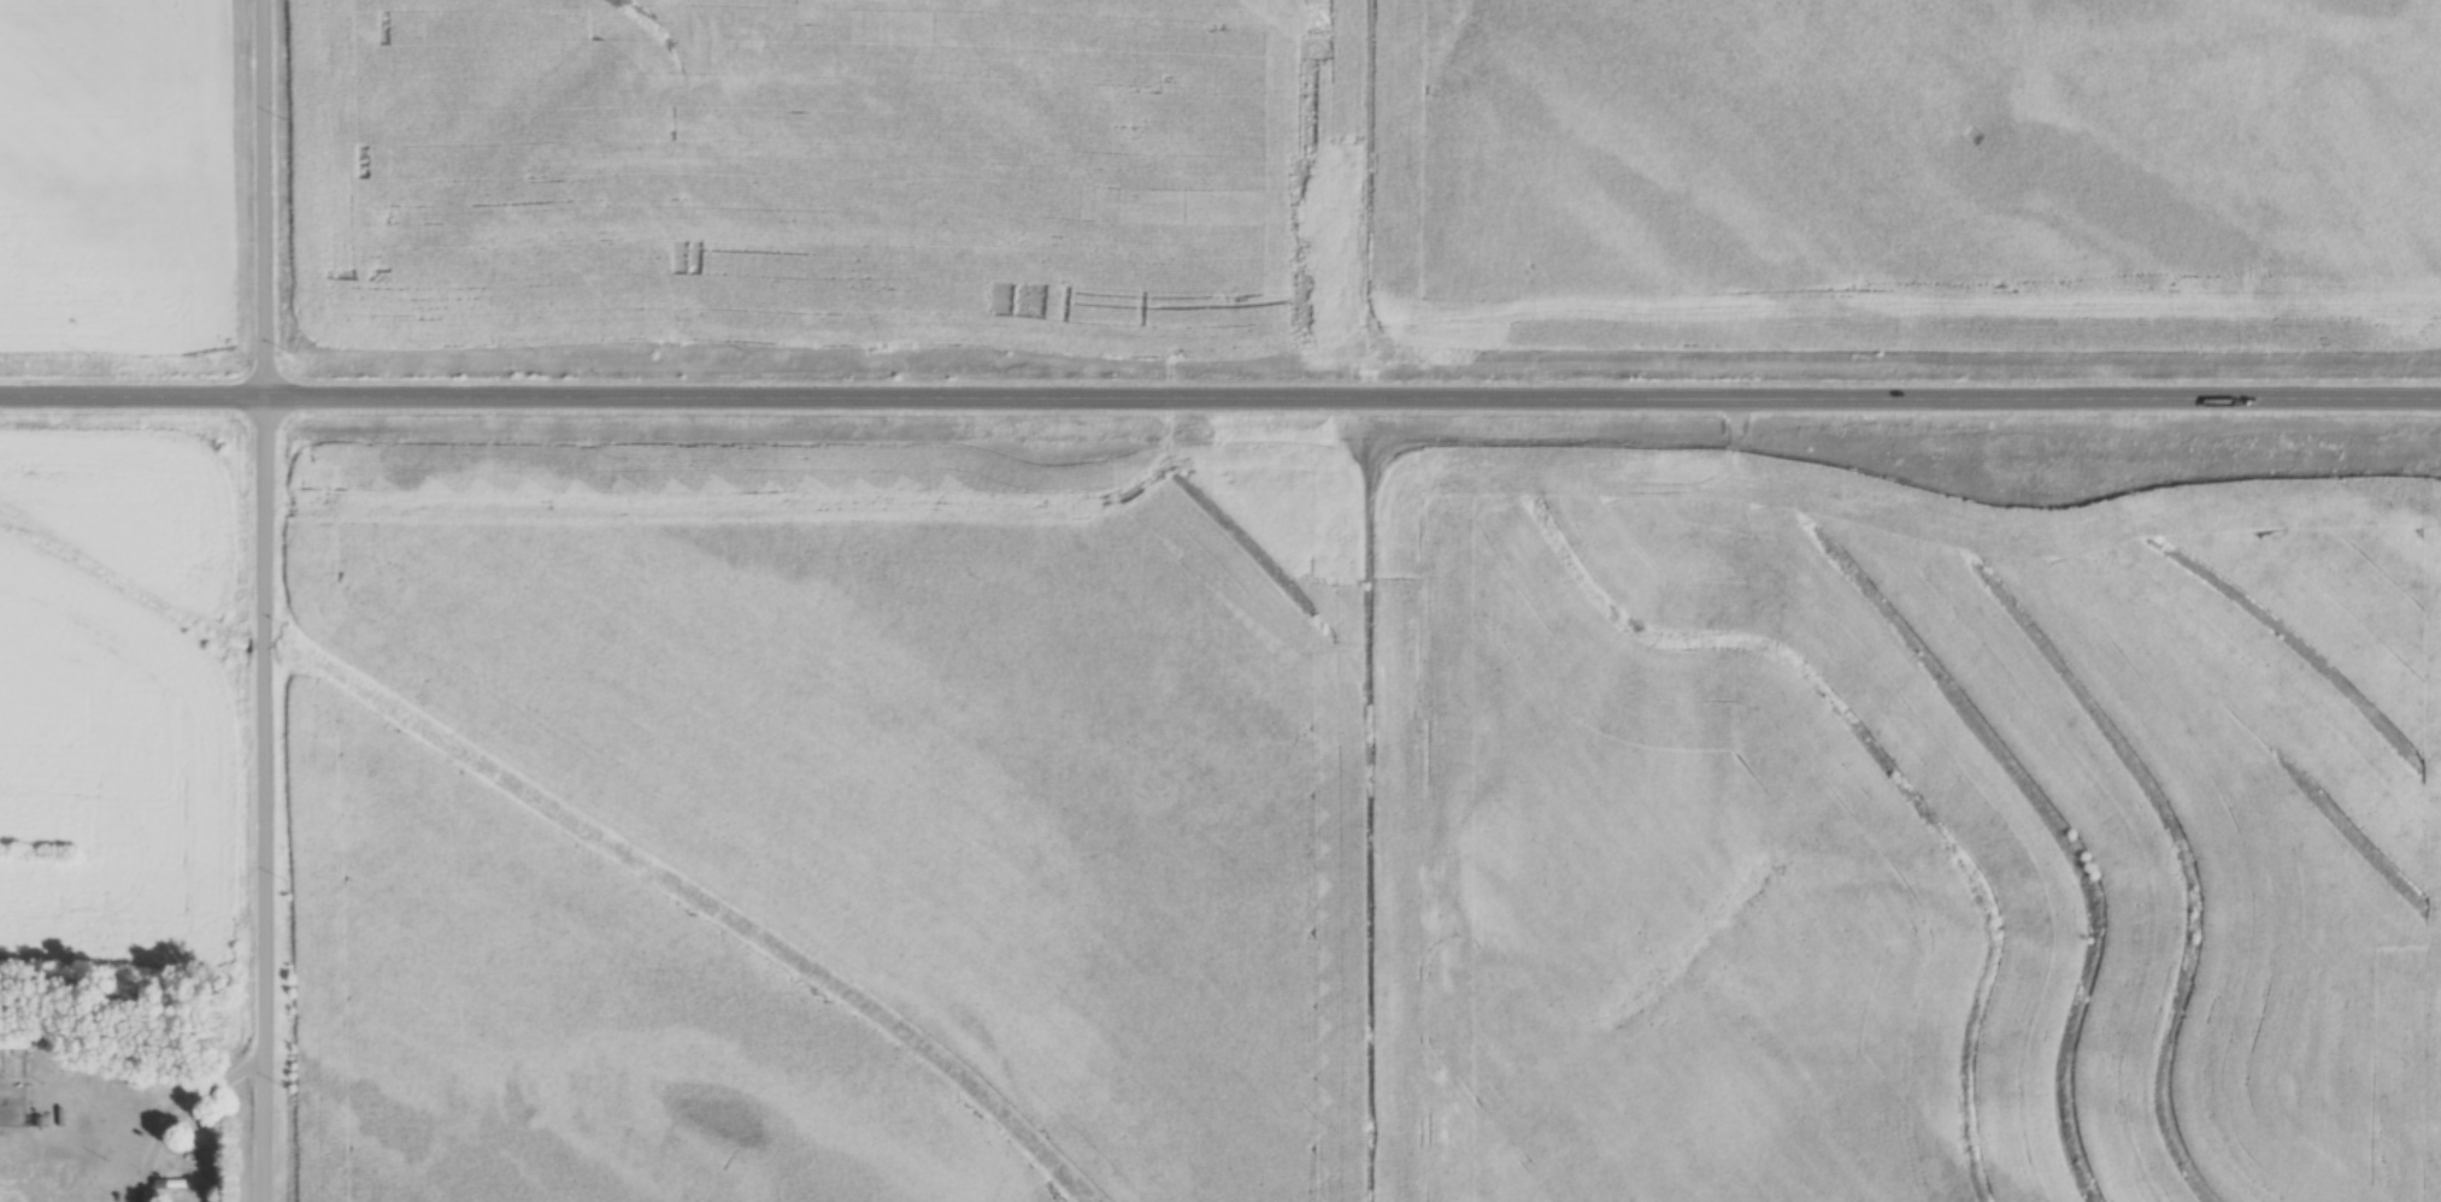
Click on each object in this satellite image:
road: (1220, 395)
road: (263, 601)
building: (12, 1037)

